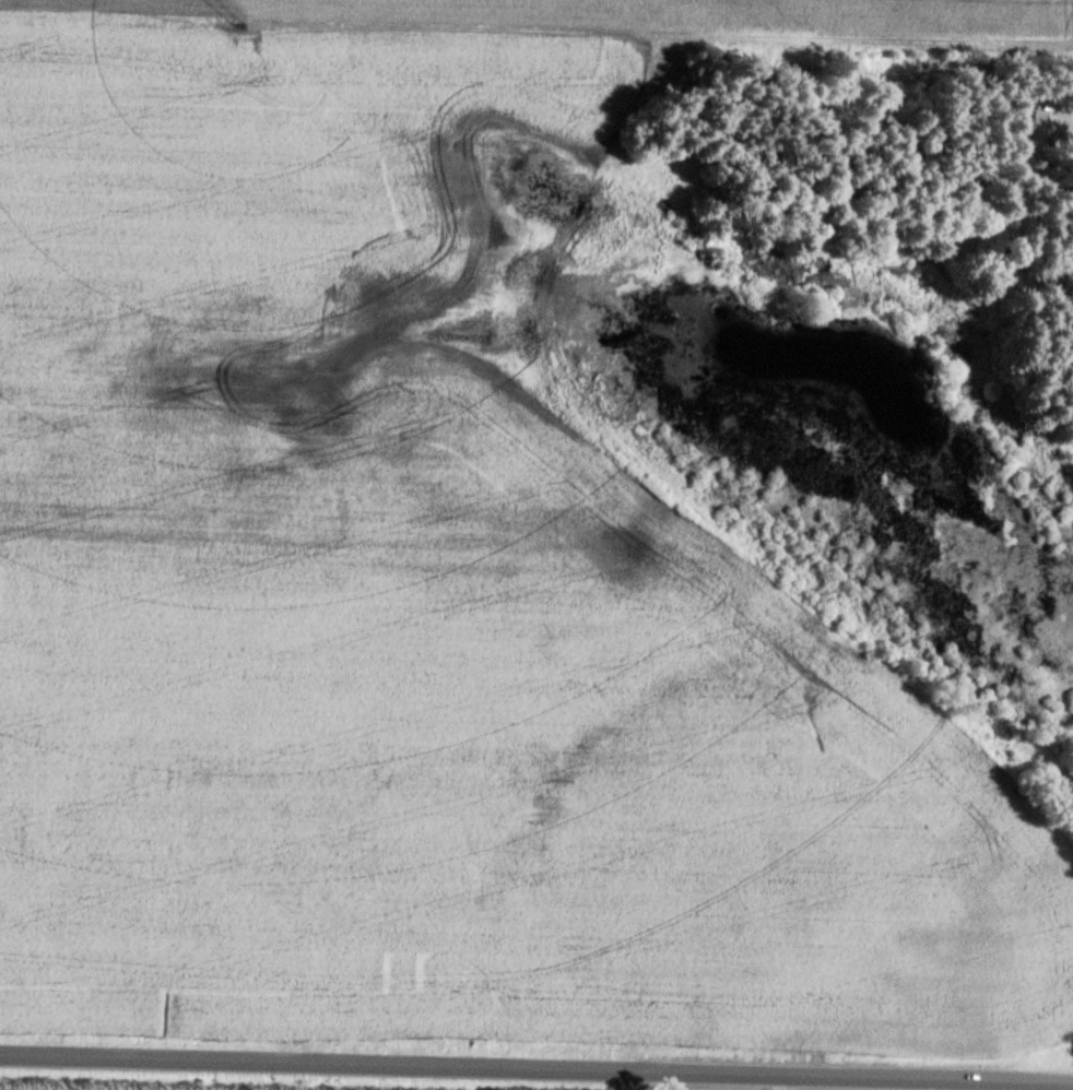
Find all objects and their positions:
building: (1022, 129)
road: (536, 1063)

